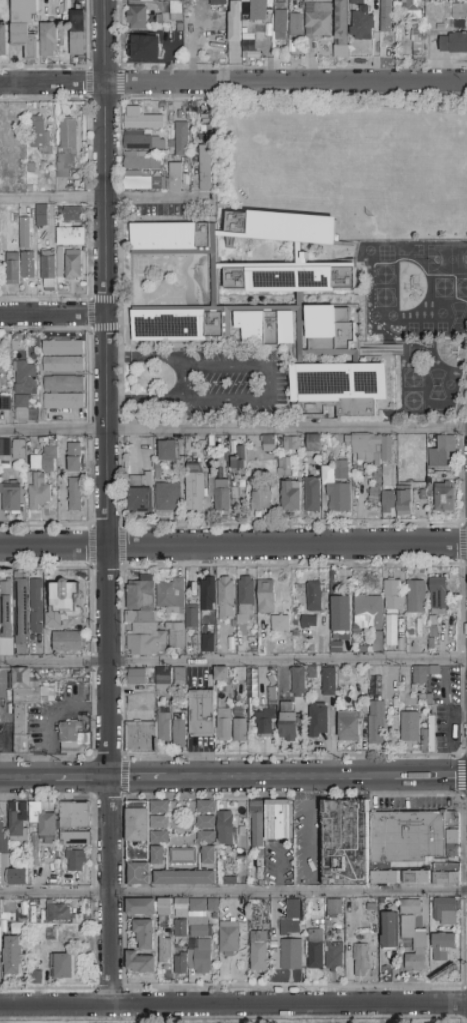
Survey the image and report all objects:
building: (245, 1)
building: (356, 1)
building: (432, 1)
building: (218, 2)
building: (269, 7)
building: (413, 9)
building: (246, 10)
building: (376, 10)
building: (258, 11)
building: (459, 11)
building: (176, 12)
building: (386, 17)
building: (137, 19)
building: (318, 20)
building: (280, 22)
building: (235, 23)
building: (341, 23)
building: (362, 24)
building: (25, 25)
building: (295, 25)
building: (452, 25)
building: (180, 27)
building: (440, 27)
building: (78, 33)
building: (179, 35)
building: (49, 39)
building: (3, 41)
building: (418, 42)
building: (454, 44)
building: (146, 48)
road: (292, 67)
road: (233, 81)
road: (87, 83)
road: (119, 83)
road: (247, 96)
building: (194, 105)
building: (163, 107)
building: (142, 120)
building: (209, 132)
building: (6, 135)
building: (40, 136)
building: (181, 139)
building: (142, 142)
road: (88, 145)
building: (170, 145)
building: (66, 147)
building: (194, 151)
building: (188, 160)
building: (141, 162)
building: (2, 163)
building: (31, 169)
building: (204, 171)
building: (174, 178)
building: (143, 183)
building: (30, 188)
road: (89, 198)
road: (149, 198)
road: (52, 199)
road: (119, 199)
building: (72, 214)
building: (42, 216)
building: (281, 228)
building: (23, 231)
building: (71, 237)
building: (174, 239)
road: (89, 253)
building: (59, 264)
building: (72, 265)
building: (29, 267)
building: (13, 269)
building: (48, 270)
building: (290, 279)
road: (90, 314)
road: (52, 315)
building: (176, 325)
building: (266, 328)
building: (329, 328)
building: (19, 339)
building: (15, 346)
building: (63, 348)
building: (370, 351)
building: (63, 365)
road: (267, 381)
building: (64, 384)
road: (182, 385)
building: (340, 389)
building: (25, 390)
building: (64, 401)
building: (5, 404)
road: (465, 408)
building: (388, 417)
road: (91, 428)
road: (233, 430)
building: (271, 444)
building: (291, 444)
building: (314, 444)
building: (6, 447)
building: (386, 449)
building: (20, 451)
building: (168, 451)
building: (442, 453)
building: (75, 458)
building: (369, 458)
building: (239, 459)
building: (5, 461)
building: (45, 461)
building: (284, 467)
building: (158, 469)
building: (430, 484)
building: (198, 487)
building: (337, 488)
building: (39, 492)
building: (140, 493)
building: (75, 495)
building: (222, 495)
building: (313, 495)
building: (423, 495)
building: (430, 495)
building: (11, 497)
building: (291, 497)
building: (445, 497)
building: (169, 498)
building: (261, 500)
building: (388, 500)
road: (106, 503)
building: (404, 503)
building: (424, 509)
road: (185, 525)
road: (462, 544)
road: (233, 545)
road: (122, 546)
road: (92, 547)
building: (333, 589)
building: (208, 594)
building: (438, 595)
building: (393, 596)
building: (171, 597)
building: (313, 597)
building: (416, 597)
building: (225, 598)
building: (266, 598)
building: (141, 602)
building: (246, 602)
building: (64, 604)
building: (36, 606)
building: (6, 610)
building: (368, 612)
building: (21, 614)
building: (205, 614)
building: (341, 615)
building: (192, 618)
building: (309, 622)
building: (280, 624)
building: (433, 627)
building: (355, 630)
building: (391, 631)
building: (175, 637)
building: (426, 640)
building: (68, 642)
building: (340, 642)
building: (208, 643)
building: (432, 643)
building: (147, 644)
building: (34, 648)
building: (363, 650)
building: (370, 650)
road: (233, 662)
building: (433, 672)
building: (312, 673)
building: (163, 674)
building: (376, 674)
building: (221, 675)
building: (419, 675)
building: (180, 676)
building: (241, 676)
building: (137, 677)
building: (210, 681)
building: (251, 681)
building: (152, 682)
building: (298, 682)
building: (329, 682)
building: (27, 689)
building: (414, 689)
building: (407, 691)
building: (272, 694)
building: (422, 697)
building: (430, 700)
building: (175, 704)
building: (184, 707)
building: (238, 711)
building: (201, 714)
road: (47, 715)
building: (20, 720)
building: (318, 720)
building: (0, 721)
building: (83, 722)
building: (265, 722)
building: (377, 722)
building: (288, 723)
building: (223, 725)
building: (349, 727)
building: (410, 727)
building: (164, 728)
building: (10, 730)
building: (179, 731)
building: (240, 731)
building: (68, 733)
building: (428, 735)
building: (141, 738)
building: (21, 744)
building: (85, 749)
road: (123, 756)
road: (461, 776)
road: (233, 777)
road: (124, 778)
road: (293, 796)
building: (159, 807)
building: (207, 807)
building: (35, 814)
building: (75, 816)
building: (278, 821)
building: (207, 822)
building: (18, 823)
building: (159, 823)
building: (257, 824)
building: (138, 825)
building: (47, 828)
building: (226, 830)
building: (243, 833)
building: (410, 835)
building: (159, 838)
building: (206, 838)
building: (74, 839)
building: (345, 843)
building: (454, 844)
building: (262, 854)
building: (158, 856)
building: (183, 856)
building: (209, 856)
building: (3, 860)
building: (75, 861)
building: (227, 864)
building: (139, 874)
building: (446, 875)
building: (17, 877)
building: (416, 877)
building: (185, 878)
building: (386, 878)
building: (230, 881)
road: (233, 893)
building: (255, 903)
building: (213, 905)
building: (316, 906)
building: (141, 907)
building: (372, 907)
building: (410, 907)
building: (181, 908)
building: (334, 908)
building: (446, 911)
building: (49, 913)
building: (164, 913)
building: (215, 917)
building: (198, 919)
building: (291, 919)
building: (316, 924)
building: (373, 928)
building: (180, 929)
building: (18, 930)
building: (390, 931)
building: (362, 932)
building: (144, 934)
building: (229, 939)
building: (273, 942)
building: (414, 945)
building: (443, 946)
building: (164, 949)
building: (315, 949)
building: (259, 952)
building: (333, 954)
building: (275, 955)
building: (291, 955)
building: (13, 956)
building: (201, 958)
building: (361, 960)
building: (140, 963)
building: (180, 964)
building: (64, 966)
building: (386, 970)
building: (37, 978)
road: (233, 1006)

